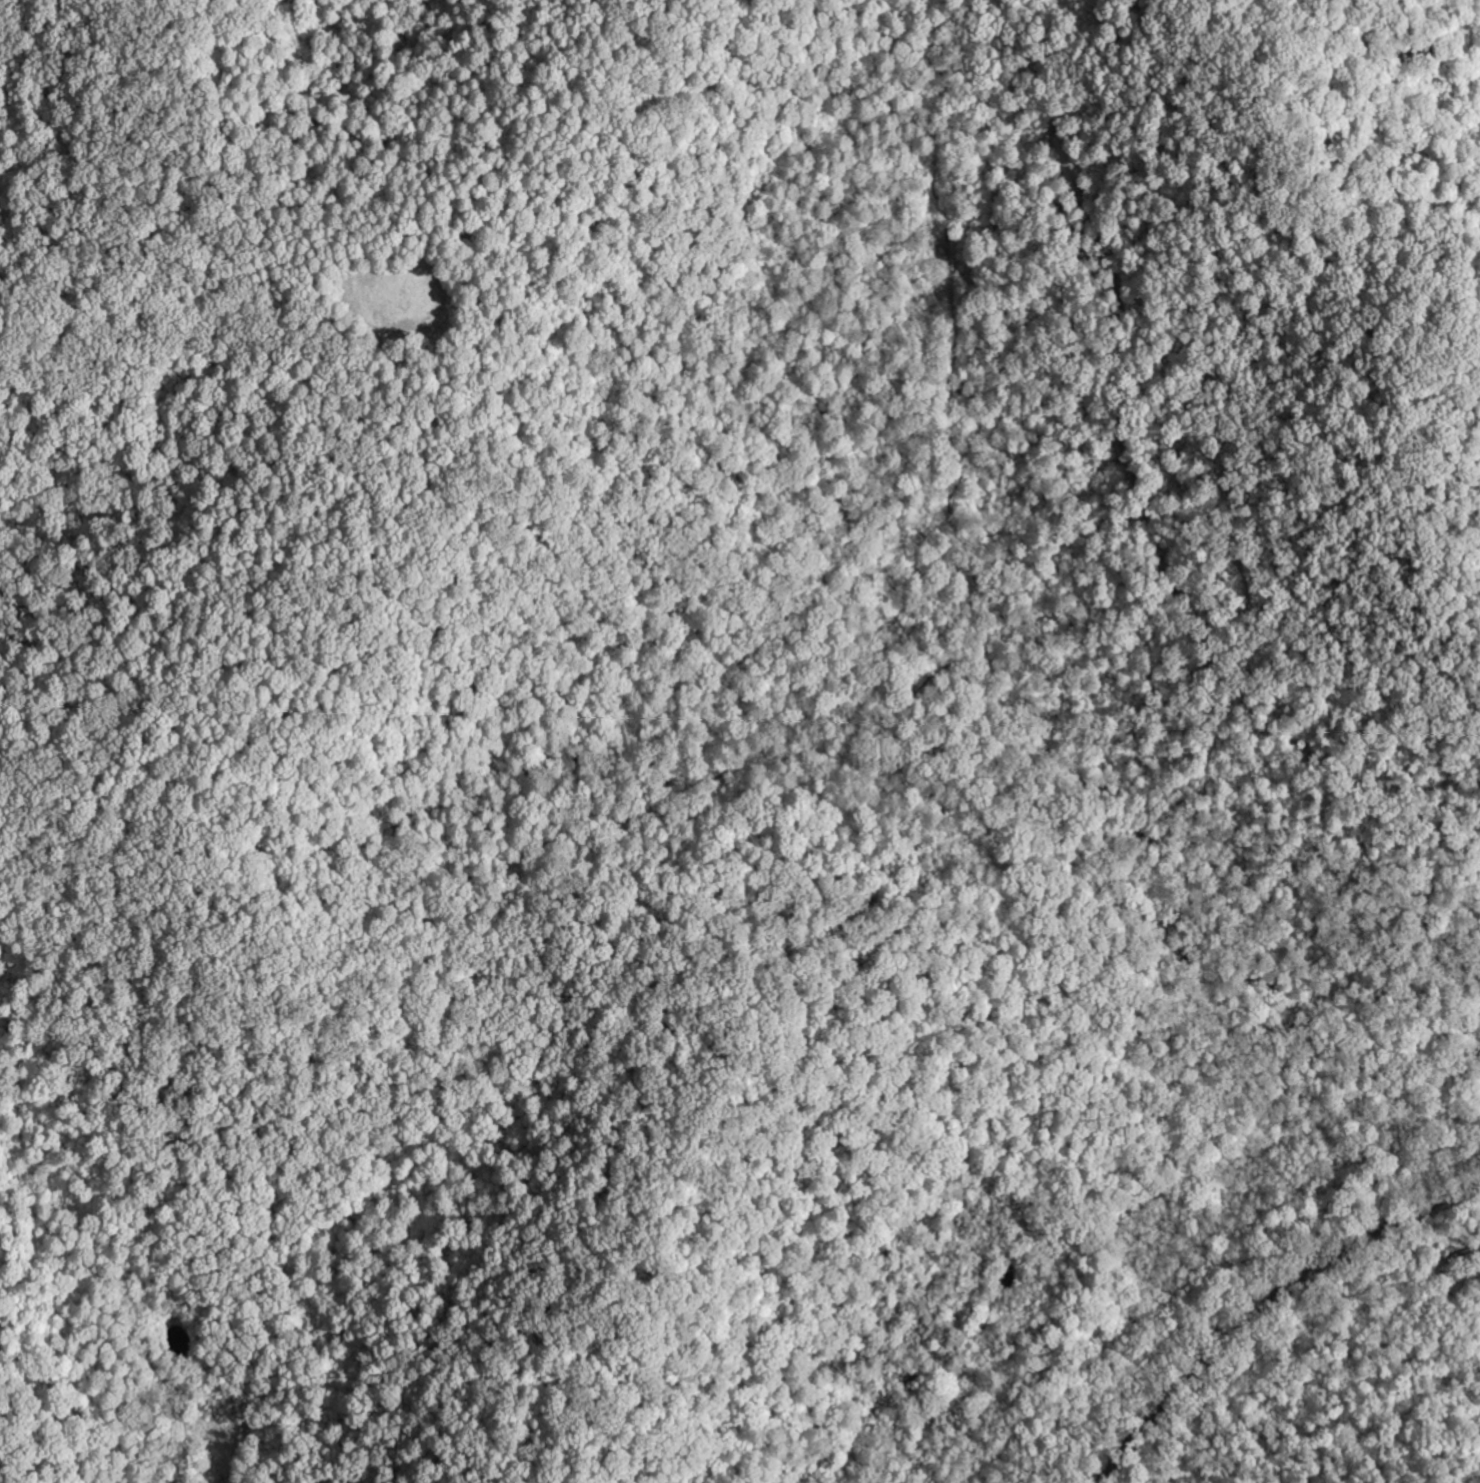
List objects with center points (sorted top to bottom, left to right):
road: (1266, 1299)

